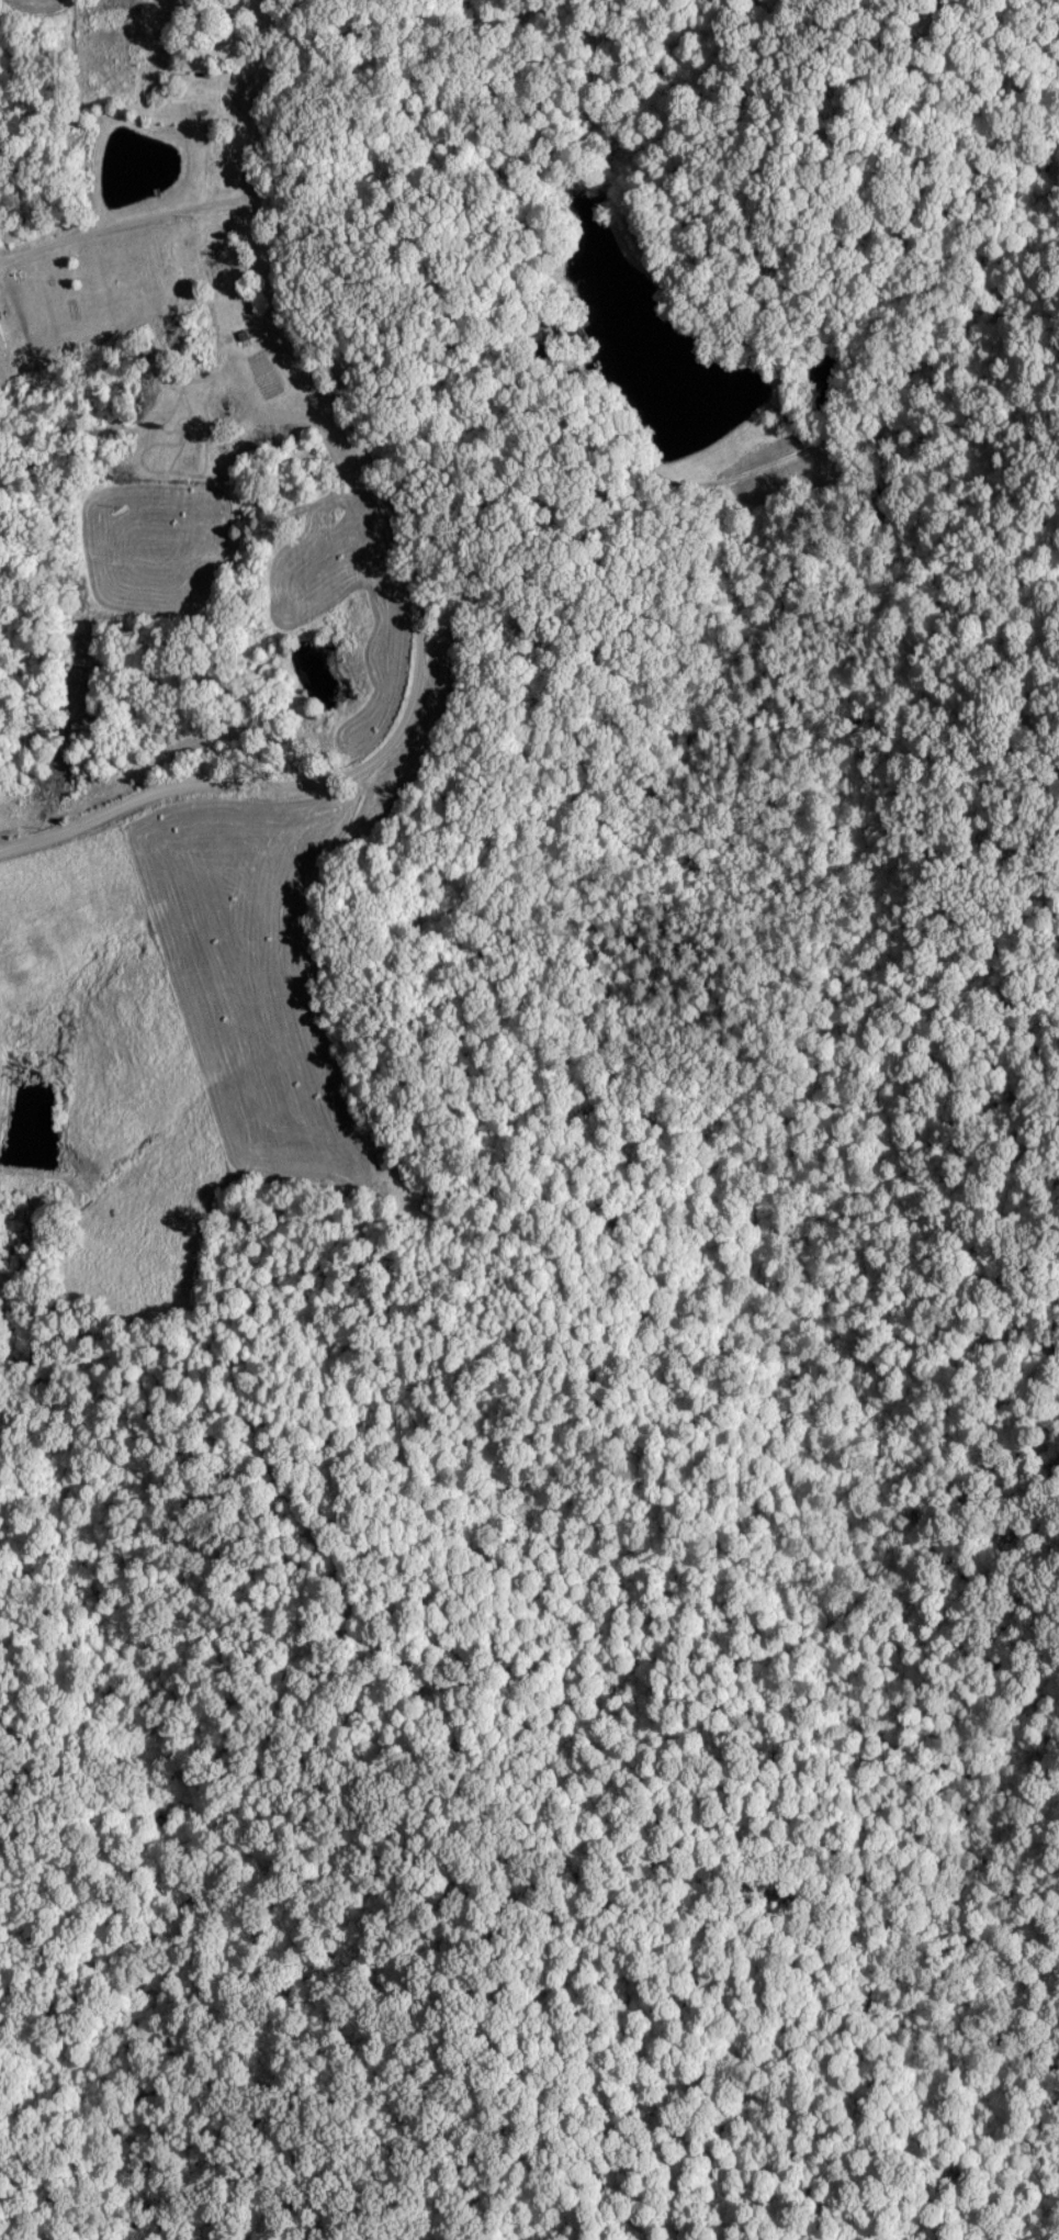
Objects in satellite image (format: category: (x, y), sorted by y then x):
road: (267, 56)
road: (123, 227)
building: (212, 264)
road: (410, 615)
building: (386, 1160)

